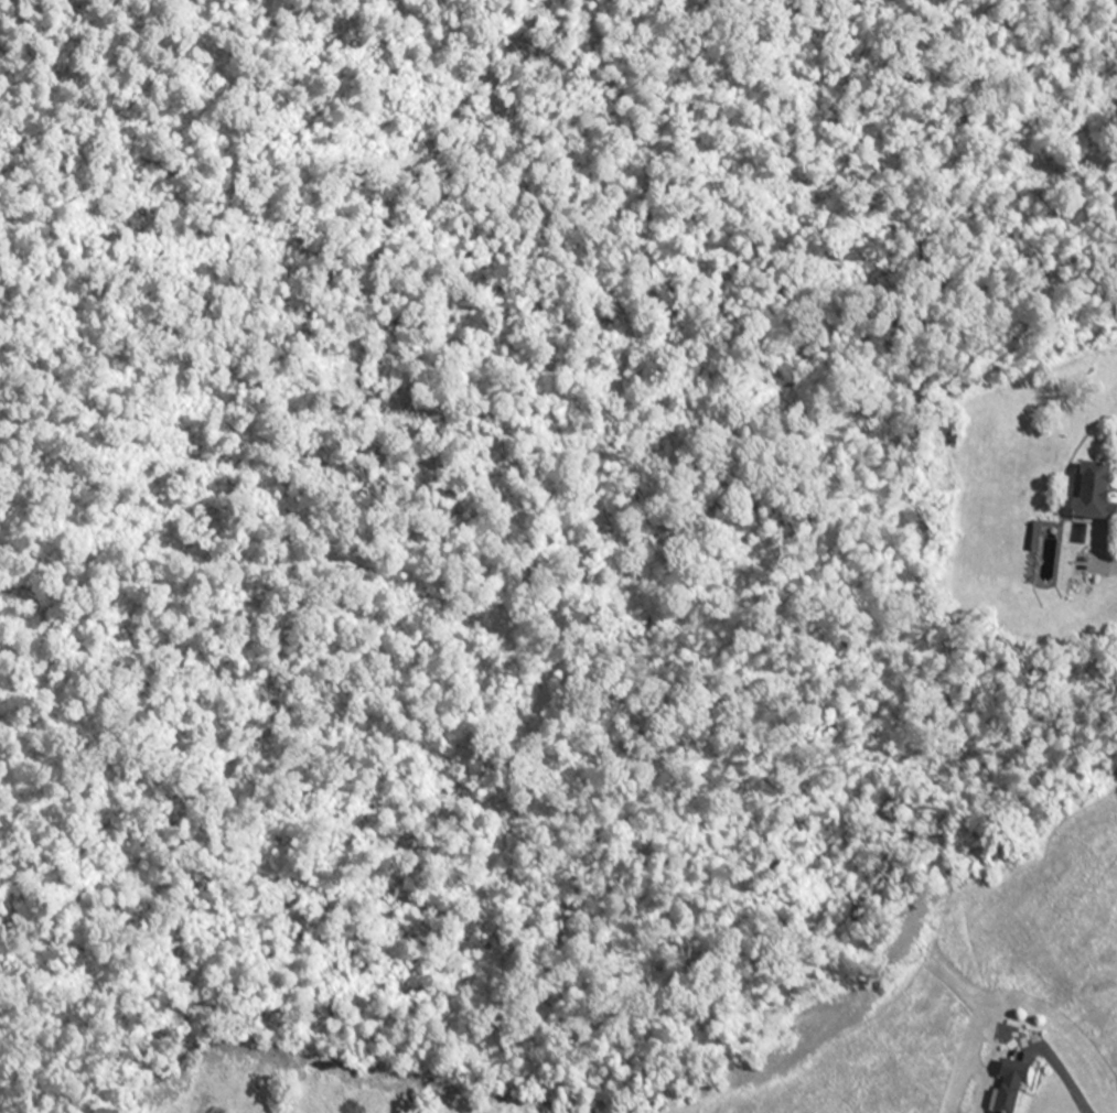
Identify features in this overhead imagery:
building: (1088, 495)
road: (1116, 568)
road: (1064, 1076)

